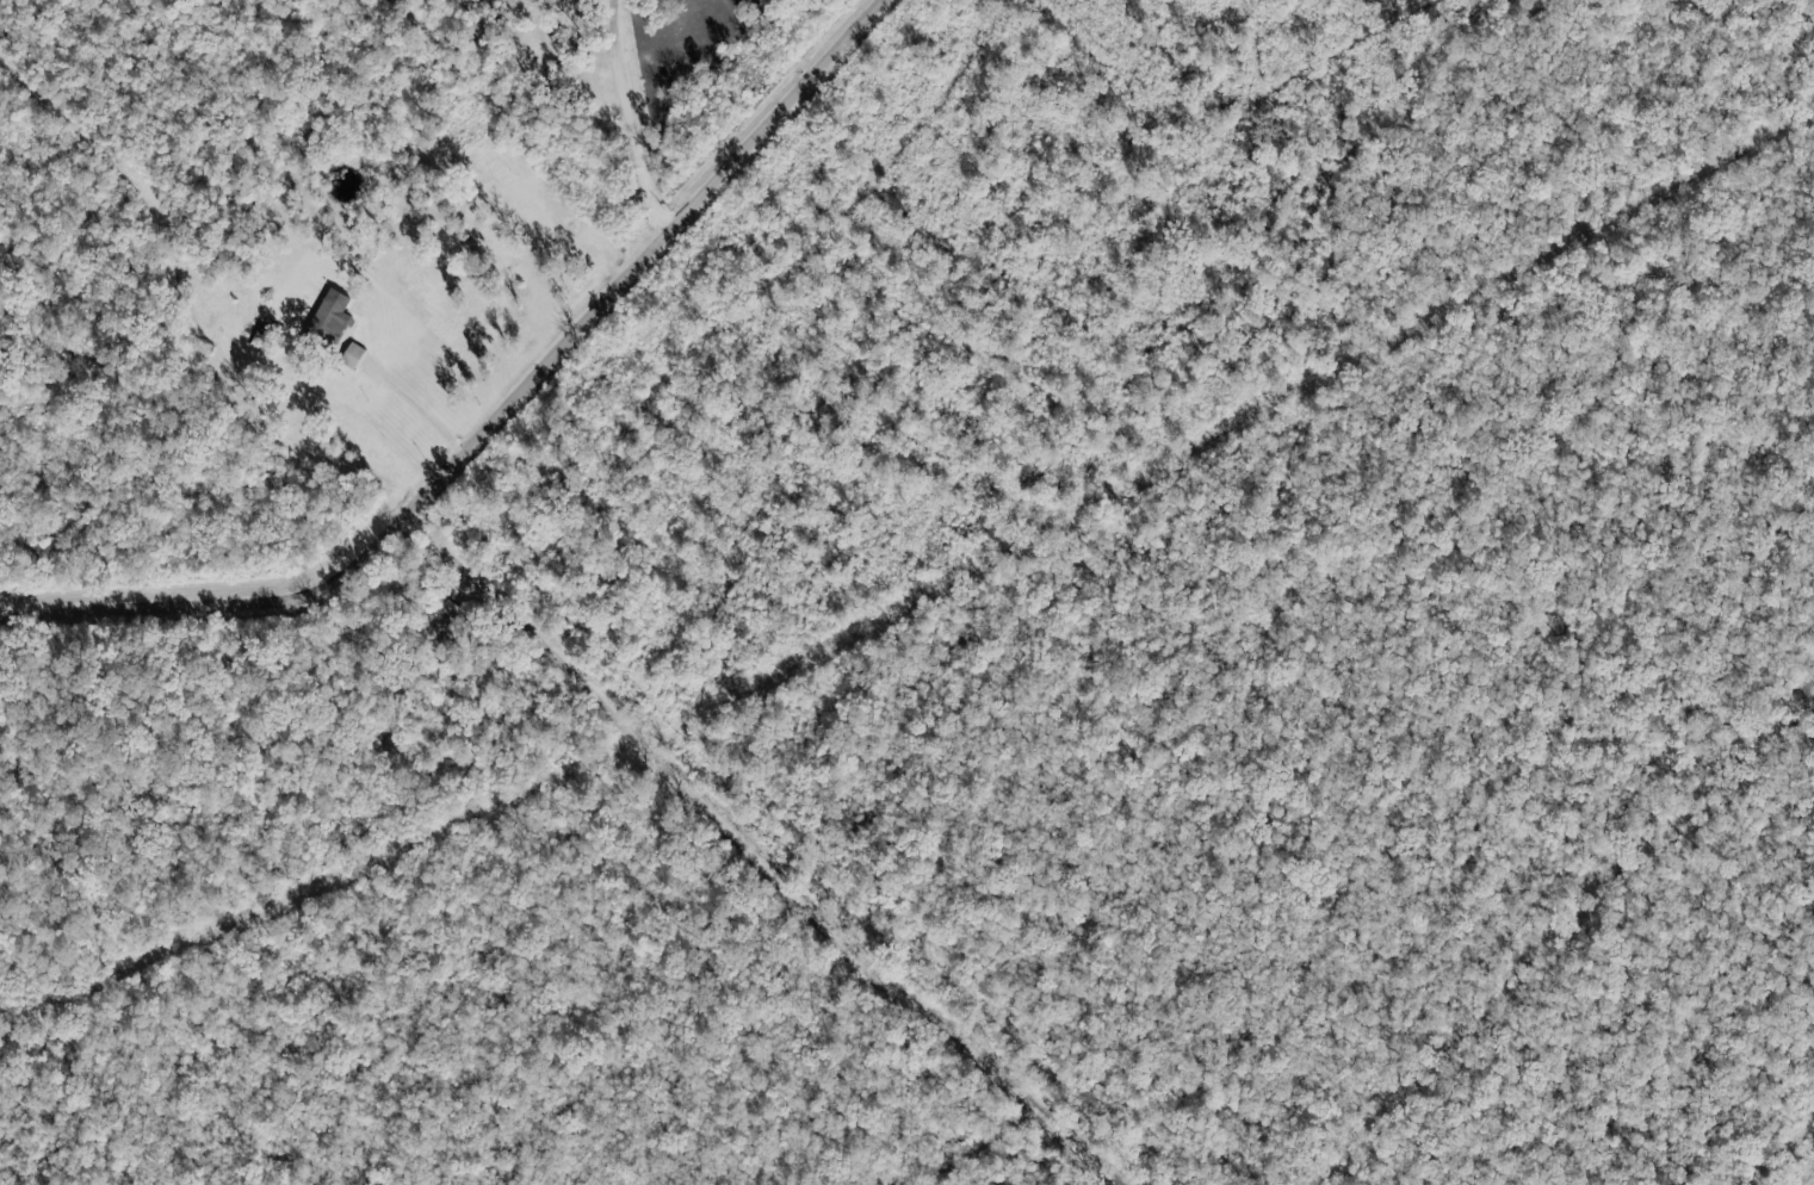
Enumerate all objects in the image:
road: (631, 118)
building: (333, 310)
building: (351, 355)
road: (499, 421)

